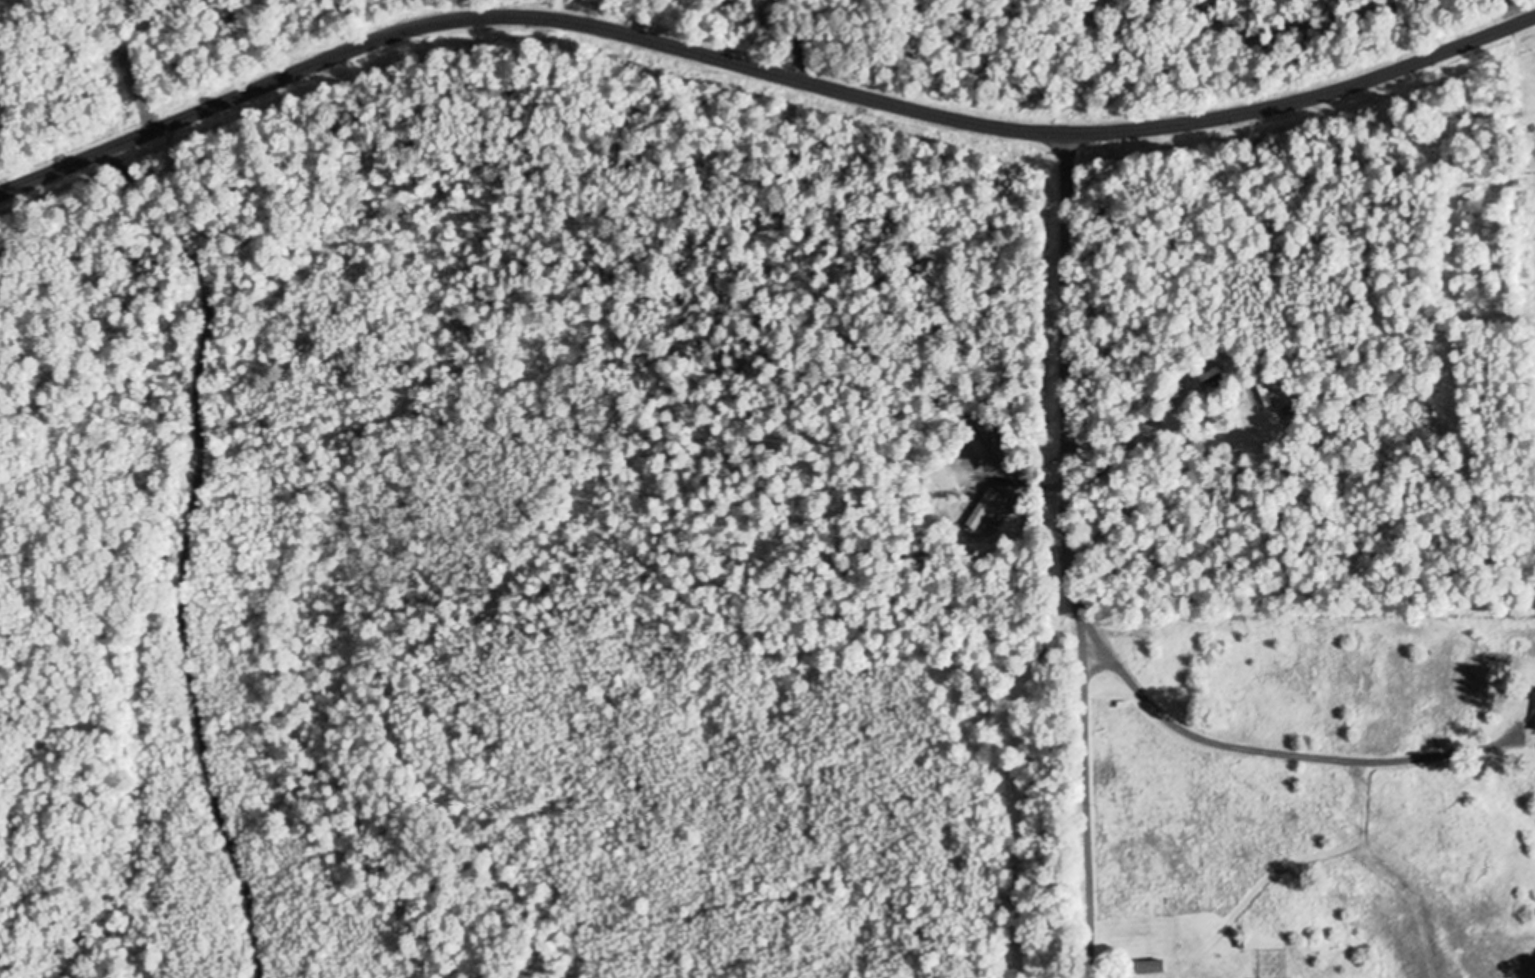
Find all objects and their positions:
road: (762, 68)
road: (181, 550)
road: (1079, 556)
road: (1268, 752)
building: (1164, 965)

